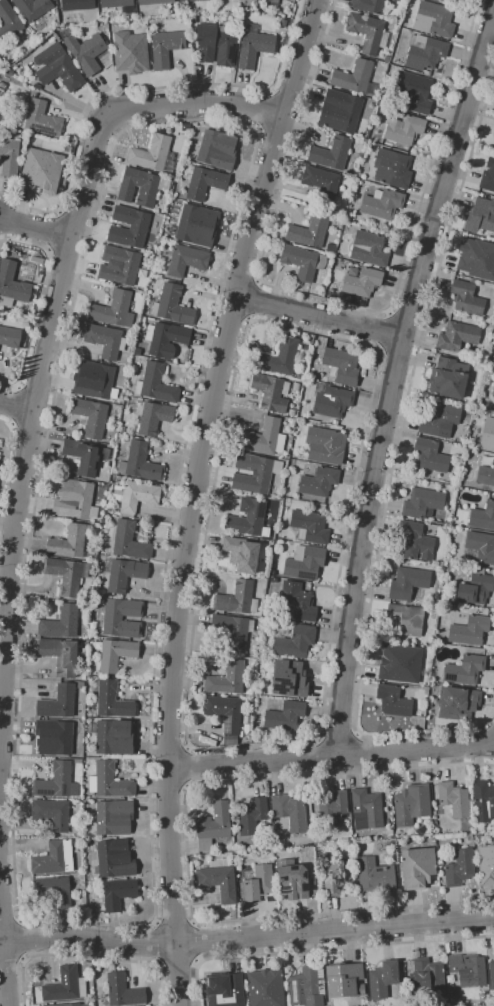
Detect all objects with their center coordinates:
building: (189, 0)
building: (286, 0)
building: (154, 2)
building: (272, 2)
building: (411, 3)
building: (118, 5)
building: (76, 6)
building: (370, 6)
building: (33, 11)
building: (433, 19)
building: (8, 22)
building: (282, 23)
building: (367, 33)
building: (216, 44)
building: (165, 48)
building: (253, 49)
building: (134, 51)
building: (86, 52)
building: (424, 53)
building: (57, 68)
building: (355, 78)
building: (36, 86)
road: (290, 88)
road: (138, 89)
building: (414, 95)
road: (263, 110)
building: (339, 111)
building: (39, 119)
building: (404, 128)
road: (255, 129)
road: (277, 131)
building: (493, 131)
building: (43, 142)
building: (217, 150)
building: (329, 150)
building: (153, 155)
building: (9, 157)
building: (391, 169)
building: (41, 170)
building: (488, 176)
building: (203, 182)
building: (321, 183)
building: (141, 187)
building: (382, 204)
building: (484, 214)
road: (73, 220)
building: (197, 225)
building: (137, 227)
road: (34, 230)
building: (309, 231)
building: (330, 248)
building: (369, 249)
building: (474, 257)
building: (187, 260)
building: (120, 265)
building: (300, 265)
road: (64, 266)
road: (241, 269)
building: (15, 281)
building: (361, 283)
building: (466, 298)
road: (254, 300)
road: (37, 302)
road: (338, 303)
building: (172, 306)
building: (114, 310)
road: (231, 314)
road: (319, 314)
road: (405, 318)
road: (382, 330)
road: (49, 331)
building: (457, 336)
building: (10, 337)
building: (165, 339)
building: (104, 341)
road: (358, 342)
building: (137, 352)
road: (397, 354)
building: (279, 357)
building: (342, 365)
road: (392, 378)
building: (448, 378)
building: (487, 379)
building: (93, 380)
building: (155, 384)
building: (270, 392)
building: (493, 395)
building: (331, 400)
road: (16, 407)
building: (292, 413)
building: (90, 416)
building: (152, 417)
building: (436, 418)
building: (488, 428)
building: (263, 438)
building: (325, 444)
building: (85, 456)
building: (429, 456)
building: (297, 457)
road: (7, 459)
building: (140, 462)
road: (392, 470)
building: (255, 472)
building: (485, 476)
building: (319, 482)
building: (135, 496)
road: (198, 497)
building: (74, 500)
building: (422, 504)
building: (483, 516)
building: (249, 520)
building: (310, 526)
building: (129, 541)
building: (70, 542)
building: (414, 542)
building: (481, 547)
building: (244, 552)
building: (304, 563)
building: (122, 573)
building: (66, 575)
building: (408, 582)
building: (476, 589)
building: (237, 599)
building: (297, 602)
building: (120, 618)
building: (403, 621)
building: (61, 622)
building: (232, 630)
building: (469, 631)
building: (295, 642)
building: (115, 654)
building: (61, 655)
building: (83, 663)
building: (400, 663)
building: (464, 670)
building: (227, 679)
building: (290, 680)
building: (80, 685)
building: (112, 700)
building: (393, 701)
building: (58, 702)
building: (460, 703)
building: (248, 710)
building: (224, 712)
building: (285, 716)
road: (339, 731)
building: (53, 737)
building: (113, 737)
building: (233, 739)
road: (169, 747)
building: (87, 751)
road: (9, 752)
road: (372, 753)
road: (316, 756)
road: (331, 756)
road: (191, 766)
building: (55, 781)
building: (109, 781)
road: (169, 787)
road: (8, 788)
building: (454, 799)
building: (483, 801)
building: (411, 803)
building: (333, 804)
building: (366, 809)
building: (52, 813)
building: (289, 813)
building: (111, 815)
building: (252, 816)
building: (213, 826)
building: (421, 830)
building: (389, 833)
building: (470, 837)
road: (187, 851)
building: (54, 859)
building: (112, 861)
building: (485, 862)
building: (417, 867)
building: (459, 868)
building: (337, 876)
building: (375, 876)
building: (292, 880)
building: (219, 883)
building: (259, 884)
building: (54, 891)
building: (117, 894)
road: (10, 919)
road: (173, 921)
road: (22, 939)
road: (197, 940)
road: (247, 940)
road: (153, 944)
road: (323, 948)
road: (88, 957)
road: (12, 962)
road: (178, 963)
building: (468, 970)
road: (2, 973)
building: (491, 974)
building: (383, 979)
building: (344, 980)
building: (426, 980)
building: (65, 985)
building: (306, 985)
building: (97, 987)
building: (269, 988)
building: (123, 991)
building: (229, 993)
building: (455, 995)
building: (481, 998)
building: (445, 1003)
building: (43, 1004)
building: (70, 1005)

